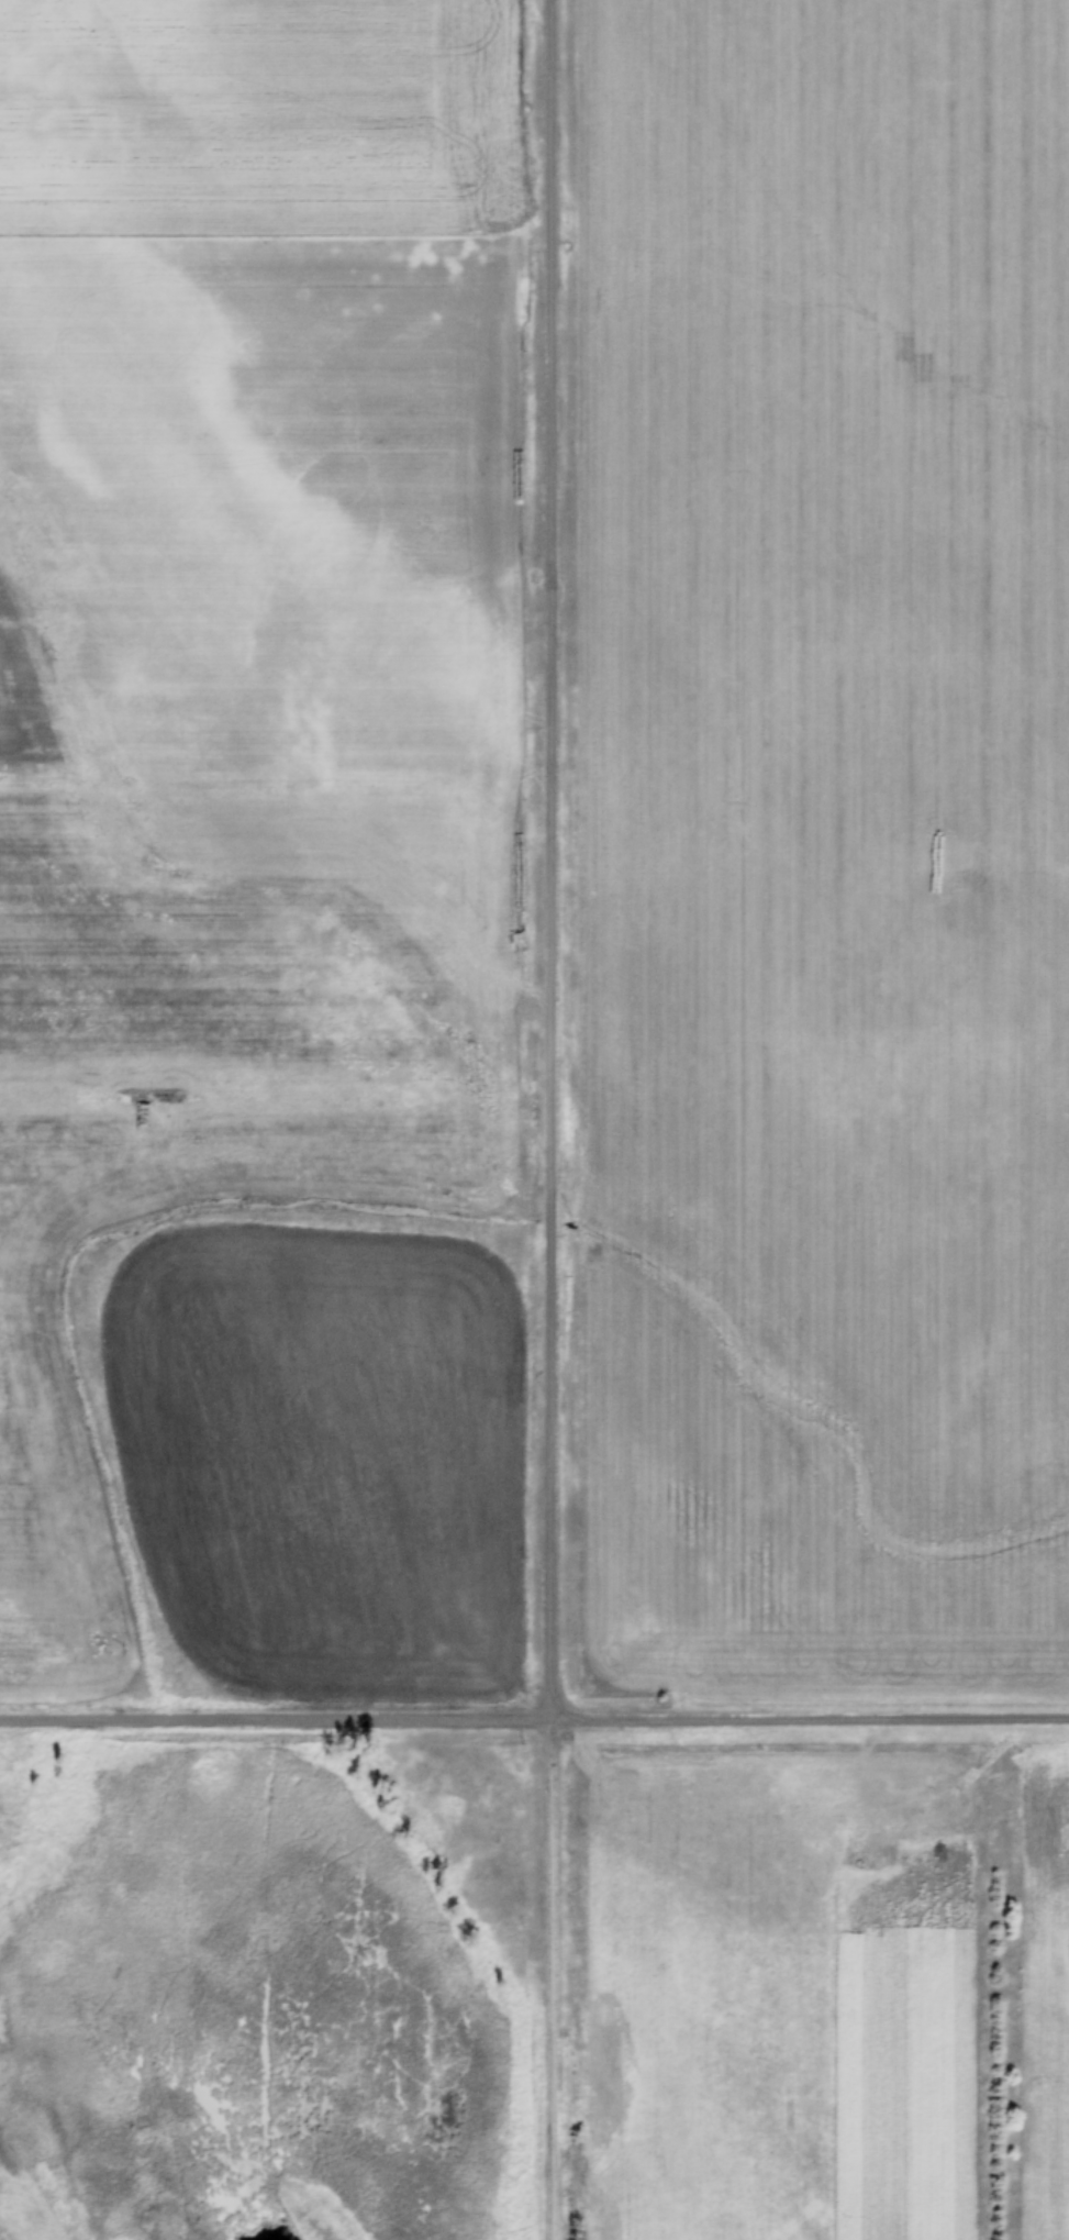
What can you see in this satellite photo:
road: (553, 1119)
road: (812, 1717)

